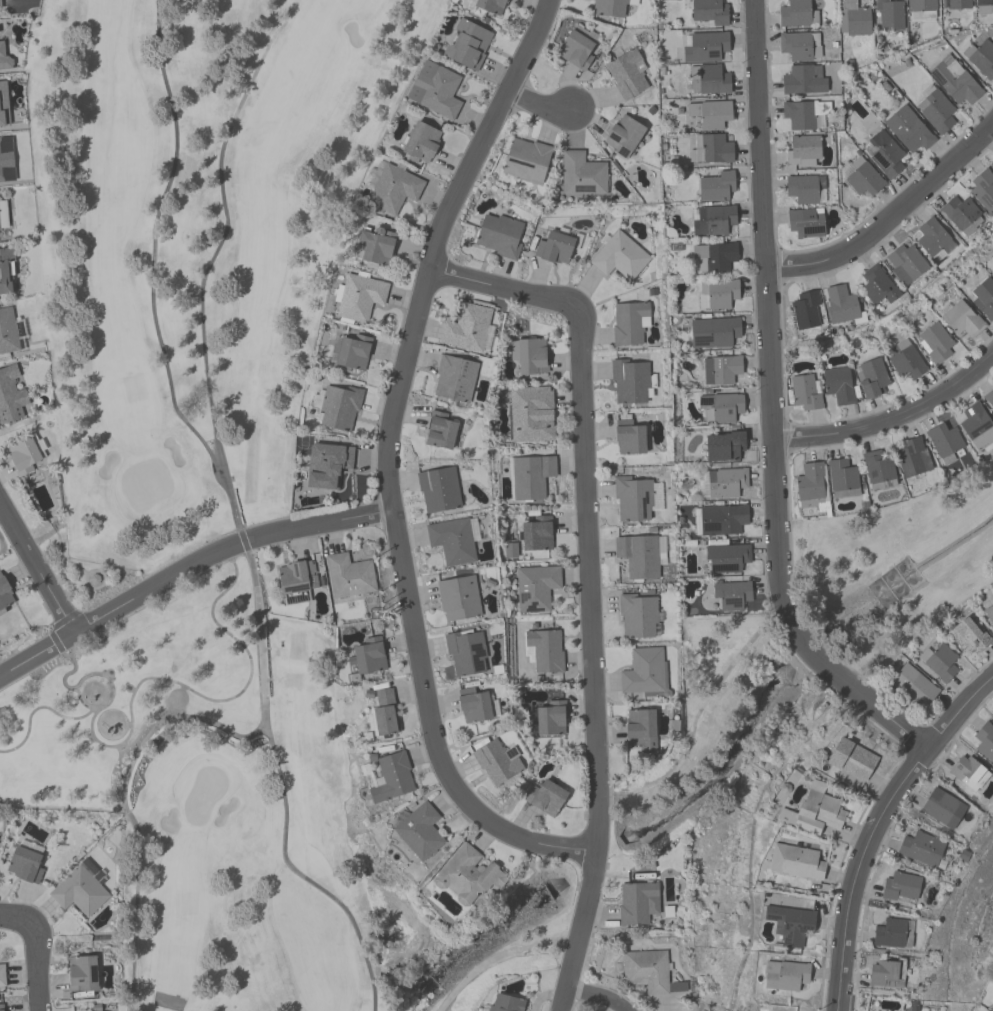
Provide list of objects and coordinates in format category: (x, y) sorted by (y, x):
building: (958, 4)
building: (485, 5)
building: (1, 6)
building: (984, 6)
building: (610, 7)
building: (922, 7)
building: (708, 11)
building: (796, 13)
building: (889, 14)
building: (853, 18)
building: (466, 44)
building: (799, 45)
building: (705, 46)
building: (575, 49)
building: (980, 57)
building: (4, 58)
building: (626, 73)
building: (708, 79)
building: (803, 79)
building: (954, 80)
building: (434, 89)
road: (537, 99)
building: (3, 104)
building: (935, 110)
building: (709, 113)
building: (802, 113)
building: (907, 129)
building: (623, 135)
building: (420, 142)
building: (709, 149)
building: (802, 150)
building: (884, 154)
building: (6, 159)
building: (525, 160)
building: (581, 174)
building: (860, 177)
building: (715, 186)
building: (392, 188)
building: (805, 188)
building: (982, 188)
building: (960, 213)
building: (3, 214)
road: (889, 215)
building: (712, 220)
building: (804, 222)
building: (498, 235)
building: (933, 239)
building: (375, 244)
road: (153, 245)
building: (553, 247)
building: (713, 255)
building: (618, 256)
building: (905, 263)
building: (5, 269)
building: (992, 270)
building: (876, 285)
building: (717, 293)
building: (358, 296)
building: (984, 298)
building: (841, 305)
building: (804, 310)
building: (961, 319)
building: (629, 322)
building: (466, 327)
building: (7, 332)
building: (713, 332)
building: (934, 342)
building: (350, 352)
building: (528, 355)
building: (904, 359)
building: (720, 369)
building: (454, 377)
building: (871, 377)
building: (631, 381)
building: (838, 385)
building: (805, 391)
building: (10, 394)
building: (988, 396)
road: (772, 405)
building: (339, 406)
building: (720, 406)
building: (530, 413)
road: (891, 416)
building: (977, 426)
building: (439, 430)
building: (628, 437)
building: (945, 442)
building: (723, 446)
park: (221, 451)
building: (22, 454)
building: (912, 457)
road: (387, 462)
building: (326, 465)
building: (878, 469)
building: (530, 476)
building: (842, 478)
building: (725, 482)
building: (809, 484)
building: (438, 488)
building: (632, 498)
road: (585, 501)
road: (232, 509)
building: (719, 519)
building: (536, 533)
building: (453, 539)
building: (509, 550)
building: (640, 555)
building: (726, 557)
road: (37, 567)
park: (894, 568)
road: (186, 571)
building: (348, 575)
building: (291, 581)
building: (535, 587)
building: (4, 594)
building: (730, 594)
building: (458, 597)
building: (988, 614)
building: (637, 615)
building: (968, 636)
building: (542, 650)
building: (465, 651)
building: (366, 655)
building: (938, 661)
building: (644, 672)
building: (912, 685)
park: (127, 695)
road: (209, 701)
building: (473, 706)
road: (106, 707)
building: (384, 712)
road: (957, 714)
building: (550, 718)
building: (640, 729)
building: (984, 740)
building: (850, 758)
building: (496, 761)
building: (968, 772)
building: (391, 777)
building: (783, 788)
building: (545, 797)
building: (941, 807)
building: (813, 811)
building: (419, 830)
building: (920, 848)
building: (795, 861)
building: (24, 864)
road: (853, 871)
building: (467, 875)
building: (900, 885)
building: (80, 888)
building: (637, 902)
building: (789, 924)
road: (14, 931)
road: (578, 931)
building: (890, 934)
road: (497, 955)
building: (648, 971)
road: (32, 973)
building: (81, 973)
building: (886, 973)
building: (784, 974)
building: (2, 976)
road: (591, 996)
building: (505, 1003)
building: (1, 1007)

